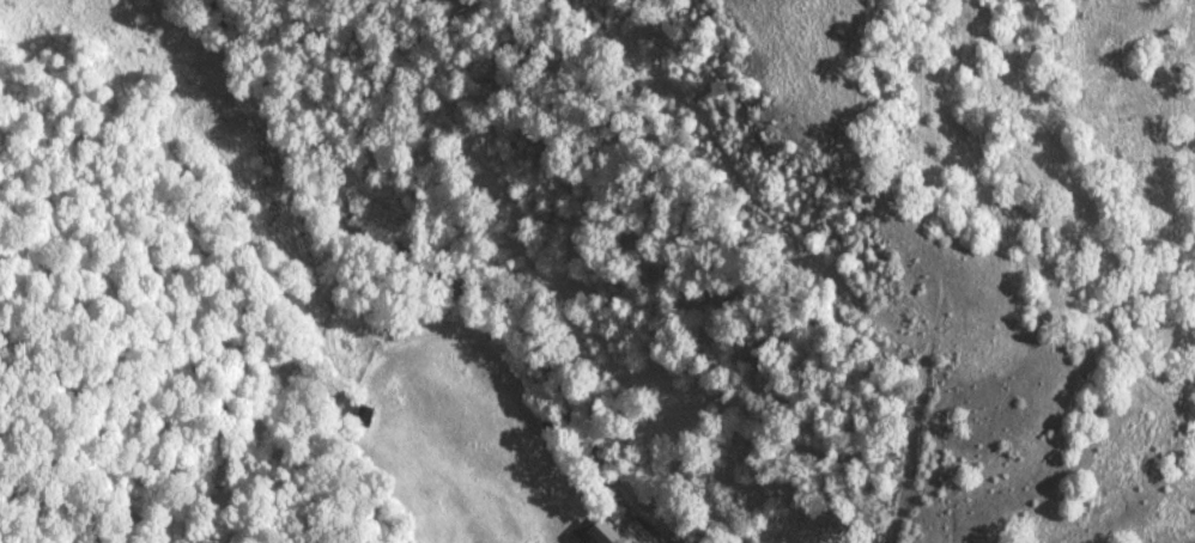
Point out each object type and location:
building: (597, 532)

